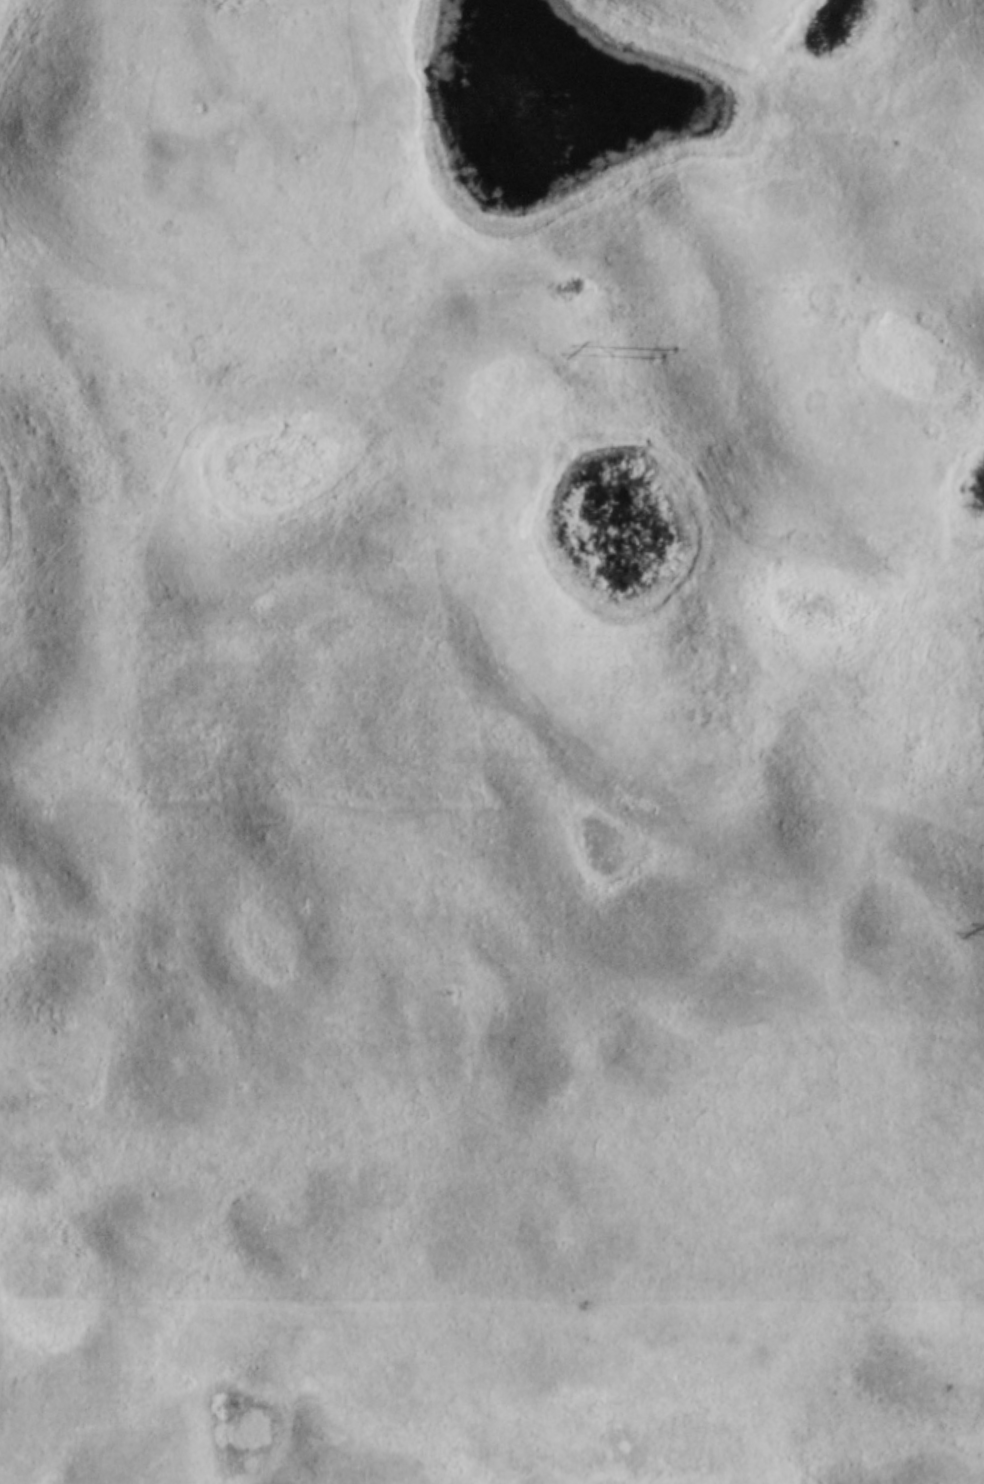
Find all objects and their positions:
power tower: (665, 352)

